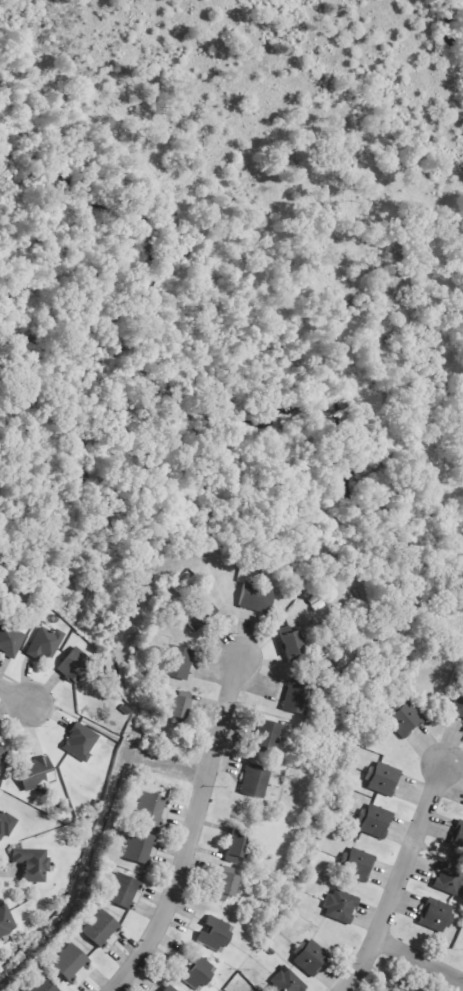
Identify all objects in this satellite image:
building: (256, 597)
building: (198, 611)
building: (10, 640)
building: (45, 643)
building: (291, 645)
building: (177, 662)
building: (73, 663)
road: (16, 694)
building: (297, 696)
building: (177, 706)
building: (458, 706)
building: (404, 719)
building: (266, 735)
building: (80, 742)
building: (2, 755)
road: (165, 763)
building: (36, 771)
building: (382, 778)
building: (254, 780)
building: (150, 809)
building: (373, 820)
building: (5, 825)
road: (190, 830)
building: (457, 838)
building: (138, 846)
building: (235, 847)
building: (32, 864)
building: (356, 864)
building: (449, 878)
building: (226, 880)
road: (398, 880)
building: (122, 890)
building: (340, 906)
building: (435, 915)
building: (6, 921)
building: (100, 927)
building: (214, 933)
building: (309, 956)
building: (69, 961)
road: (419, 961)
building: (195, 970)
building: (285, 982)
building: (42, 985)
building: (168, 988)
building: (410, 989)

